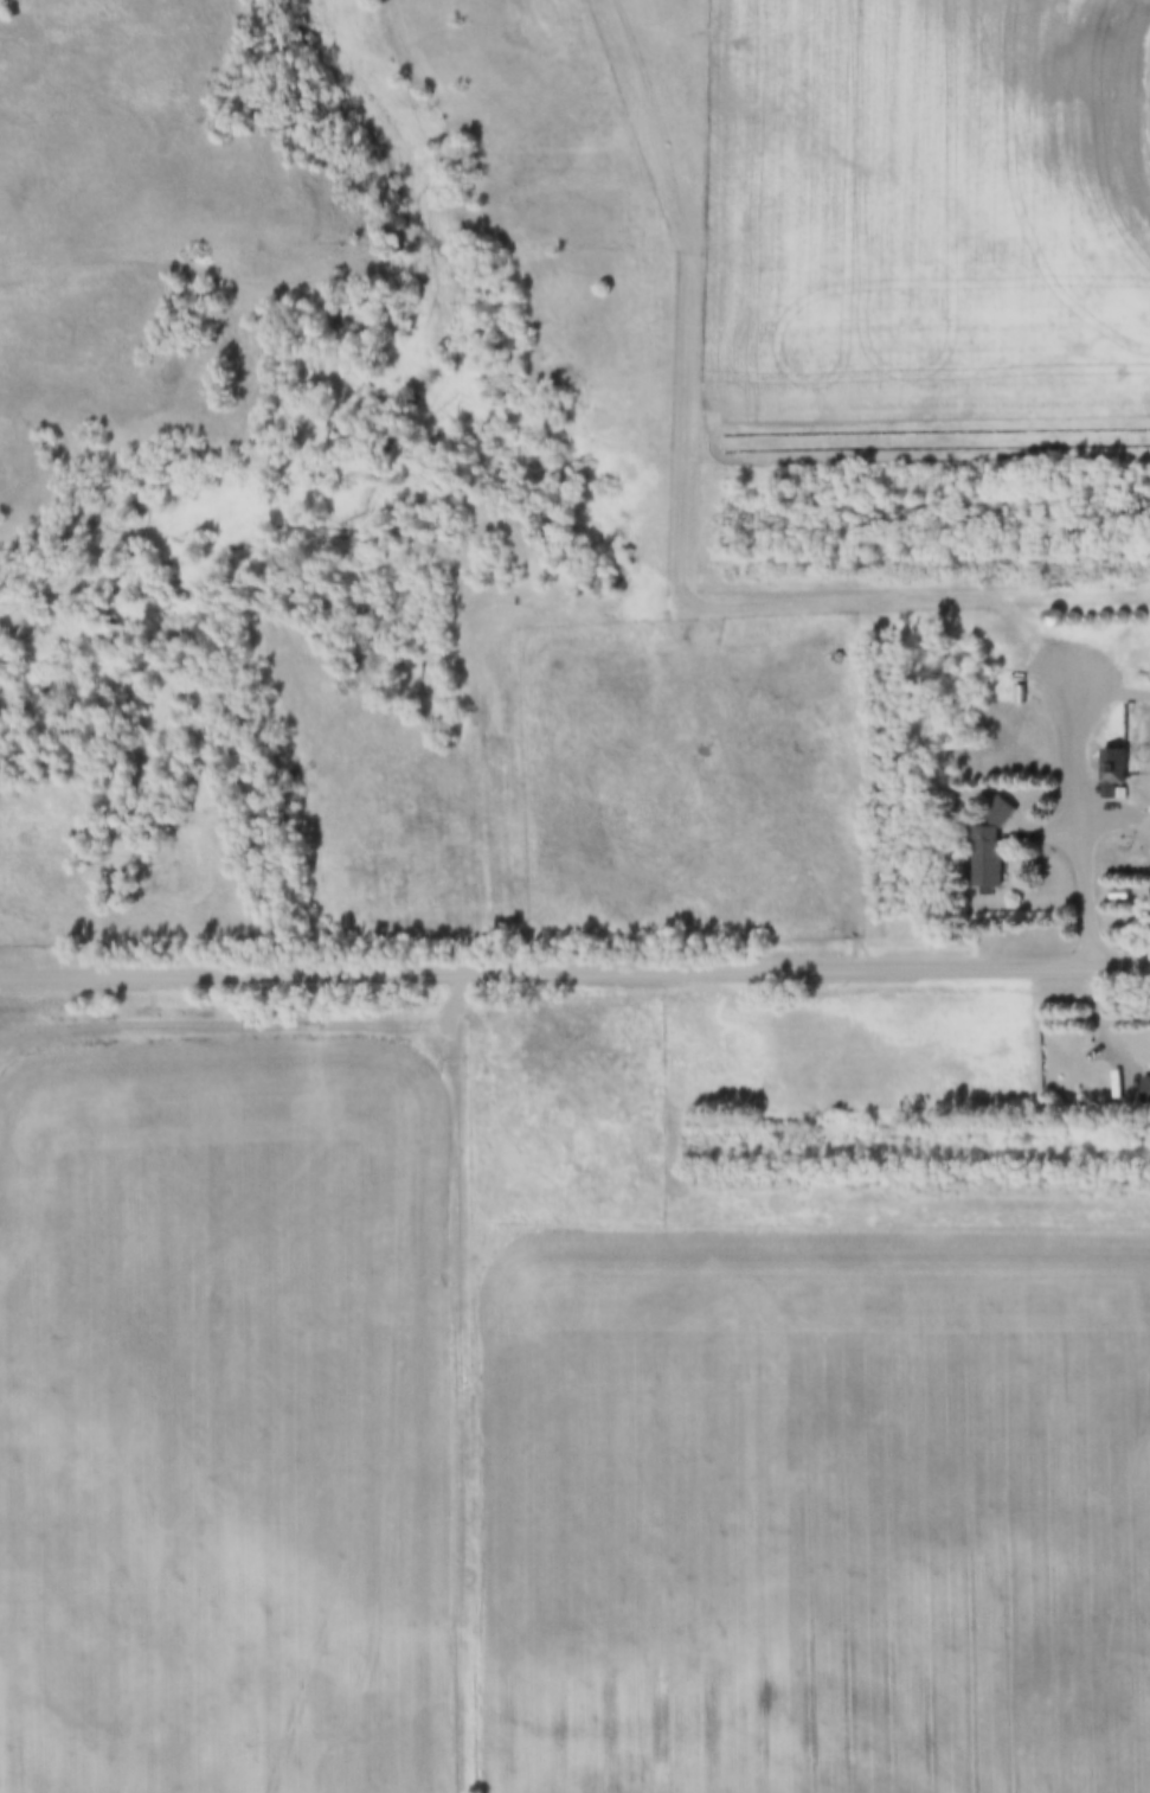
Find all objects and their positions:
road: (683, 430)
road: (1068, 753)
building: (1109, 768)
building: (982, 858)
road: (574, 966)
building: (1143, 1090)
road: (460, 1379)

